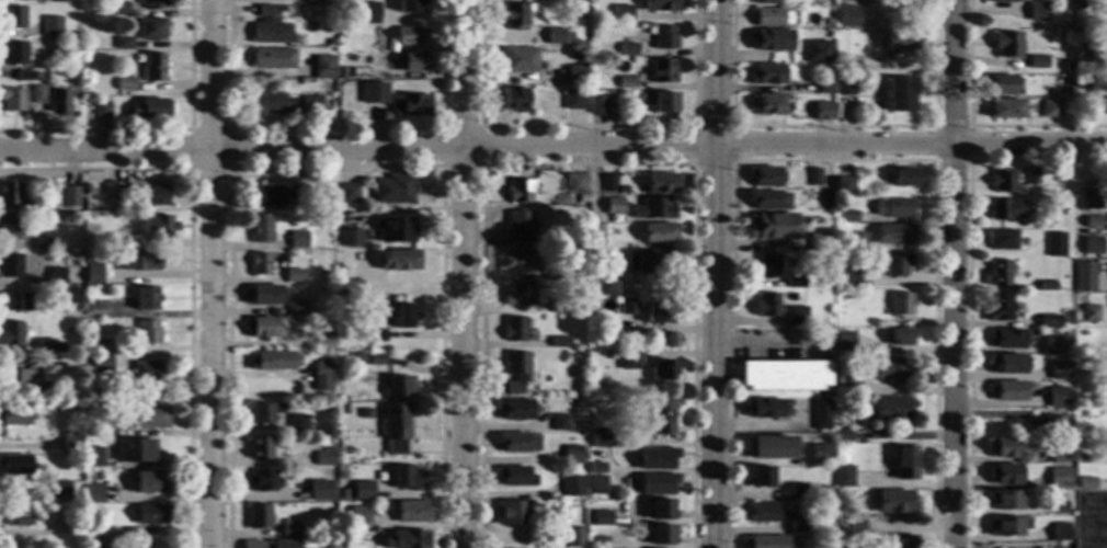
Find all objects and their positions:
building: (312, 0)
building: (608, 0)
building: (55, 1)
building: (1005, 1)
building: (766, 2)
building: (906, 2)
building: (152, 4)
building: (409, 5)
building: (663, 5)
building: (118, 9)
building: (1037, 11)
building: (367, 12)
building: (621, 13)
building: (514, 14)
building: (12, 16)
building: (767, 16)
building: (846, 16)
building: (1104, 22)
building: (52, 25)
building: (267, 26)
building: (151, 30)
building: (591, 33)
building: (408, 36)
building: (553, 36)
building: (662, 36)
building: (568, 37)
building: (769, 39)
building: (50, 41)
building: (901, 41)
building: (124, 43)
building: (1007, 44)
building: (628, 49)
building: (818, 52)
building: (1086, 53)
building: (13, 54)
building: (271, 58)
building: (518, 60)
building: (410, 61)
building: (1038, 61)
building: (76, 66)
building: (848, 66)
building: (1068, 66)
building: (153, 67)
building: (322, 67)
building: (360, 71)
building: (663, 71)
road: (952, 72)
building: (575, 75)
building: (766, 75)
building: (25, 76)
building: (626, 82)
building: (125, 83)
building: (1082, 84)
building: (844, 85)
building: (1001, 85)
building: (823, 89)
building: (373, 93)
building: (38, 94)
building: (901, 94)
building: (12, 100)
building: (514, 100)
building: (574, 100)
building: (609, 101)
building: (59, 102)
building: (269, 102)
building: (664, 102)
building: (310, 104)
building: (766, 104)
building: (411, 105)
building: (596, 105)
building: (1106, 106)
building: (149, 109)
building: (1006, 109)
building: (1050, 109)
building: (102, 110)
building: (822, 111)
road: (585, 126)
road: (730, 126)
road: (834, 126)
road: (480, 127)
road: (968, 127)
road: (973, 127)
road: (333, 128)
road: (228, 129)
road: (159, 130)
road: (1029, 147)
road: (476, 148)
road: (834, 161)
road: (587, 164)
road: (335, 167)
building: (763, 176)
building: (810, 176)
building: (906, 176)
building: (1031, 176)
building: (1002, 181)
building: (573, 183)
building: (608, 183)
building: (660, 183)
building: (843, 186)
building: (620, 189)
building: (392, 190)
building: (90, 191)
building: (518, 191)
building: (8, 193)
building: (347, 193)
building: (153, 195)
building: (276, 195)
building: (70, 197)
building: (581, 198)
building: (767, 199)
building: (825, 199)
building: (1089, 199)
building: (22, 203)
building: (54, 203)
road: (1073, 203)
building: (613, 206)
building: (1052, 206)
building: (652, 208)
building: (893, 208)
building: (1006, 209)
building: (848, 216)
building: (328, 217)
building: (1093, 221)
building: (107, 222)
building: (157, 226)
building: (772, 226)
building: (517, 227)
building: (8, 228)
building: (260, 228)
building: (393, 230)
building: (658, 232)
building: (594, 235)
building: (894, 235)
building: (1046, 235)
building: (581, 236)
building: (349, 238)
building: (297, 239)
building: (1002, 239)
building: (115, 240)
building: (855, 241)
building: (817, 242)
building: (43, 243)
building: (1054, 244)
building: (1093, 246)
building: (592, 255)
building: (363, 259)
building: (398, 260)
building: (139, 261)
building: (521, 262)
building: (650, 262)
road: (189, 263)
building: (259, 264)
building: (897, 265)
building: (10, 266)
building: (765, 266)
building: (562, 272)
building: (93, 273)
road: (210, 274)
road: (461, 274)
road: (714, 274)
building: (998, 274)
building: (56, 275)
building: (293, 275)
building: (1084, 277)
building: (858, 278)
building: (1106, 278)
building: (792, 282)
building: (606, 285)
road: (968, 285)
building: (1047, 286)
building: (345, 289)
building: (71, 295)
building: (262, 295)
building: (518, 295)
building: (146, 298)
building: (18, 301)
building: (900, 304)
building: (766, 305)
building: (558, 307)
building: (627, 307)
building: (998, 308)
building: (294, 309)
building: (364, 309)
building: (94, 310)
building: (657, 310)
building: (1089, 313)
building: (402, 316)
building: (796, 316)
building: (313, 320)
building: (318, 320)
building: (871, 321)
building: (1049, 321)
building: (323, 326)
building: (262, 327)
building: (514, 329)
building: (147, 332)
building: (10, 333)
building: (286, 334)
building: (375, 335)
building: (899, 336)
building: (1007, 339)
building: (323, 340)
building: (558, 341)
building: (844, 341)
building: (595, 343)
building: (49, 345)
building: (100, 345)
road: (771, 345)
building: (1054, 345)
road: (952, 347)
building: (582, 353)
building: (76, 357)
building: (357, 357)
building: (85, 358)
building: (375, 359)
building: (628, 359)
building: (270, 362)
building: (101, 363)
building: (1007, 364)
building: (661, 369)
building: (891, 369)
building: (1059, 370)
building: (515, 372)
building: (146, 373)
building: (320, 376)
building: (783, 376)
building: (20, 383)
building: (848, 386)
building: (398, 387)
building: (1007, 390)
building: (284, 395)
building: (1057, 398)
building: (1100, 399)
building: (327, 408)
building: (892, 408)
building: (514, 409)
building: (763, 409)
building: (263, 412)
building: (820, 413)
building: (13, 415)
building: (149, 418)
building: (660, 418)
building: (560, 422)
building: (297, 423)
building: (1051, 425)
building: (93, 427)
building: (393, 430)
building: (842, 435)
building: (304, 438)
building: (329, 438)
building: (600, 438)
building: (71, 442)
building: (512, 442)
building: (769, 447)
building: (1003, 447)
building: (259, 448)
building: (133, 450)
building: (817, 454)
building: (572, 455)
building: (1054, 455)
building: (92, 457)
building: (322, 457)
building: (657, 458)
building: (1079, 458)
building: (903, 461)
building: (14, 465)
building: (595, 468)
building: (1004, 473)
building: (514, 477)
building: (760, 477)
building: (843, 477)
building: (406, 478)
building: (261, 481)
building: (149, 482)
building: (596, 482)
building: (1058, 482)
building: (657, 483)
building: (1085, 483)
building: (571, 487)
building: (59, 490)
building: (318, 490)
building: (361, 490)
building: (798, 492)
building: (93, 494)
building: (341, 494)
building: (1004, 500)
building: (894, 502)
building: (1058, 504)
building: (661, 510)
building: (410, 512)
building: (514, 513)
building: (151, 514)
building: (14, 515)
building: (357, 515)
building: (258, 516)
building: (776, 516)
building: (602, 517)
building: (1089, 520)
building: (72, 526)
building: (855, 526)
building: (841, 527)
building: (1004, 527)
building: (287, 530)
building: (1059, 533)
building: (660, 535)
building: (98, 537)
building: (574, 537)
building: (406, 539)
building: (765, 541)
building: (902, 541)
building: (597, 543)
building: (250, 544)
building: (293, 544)
building: (339, 545)
building: (326, 547)

